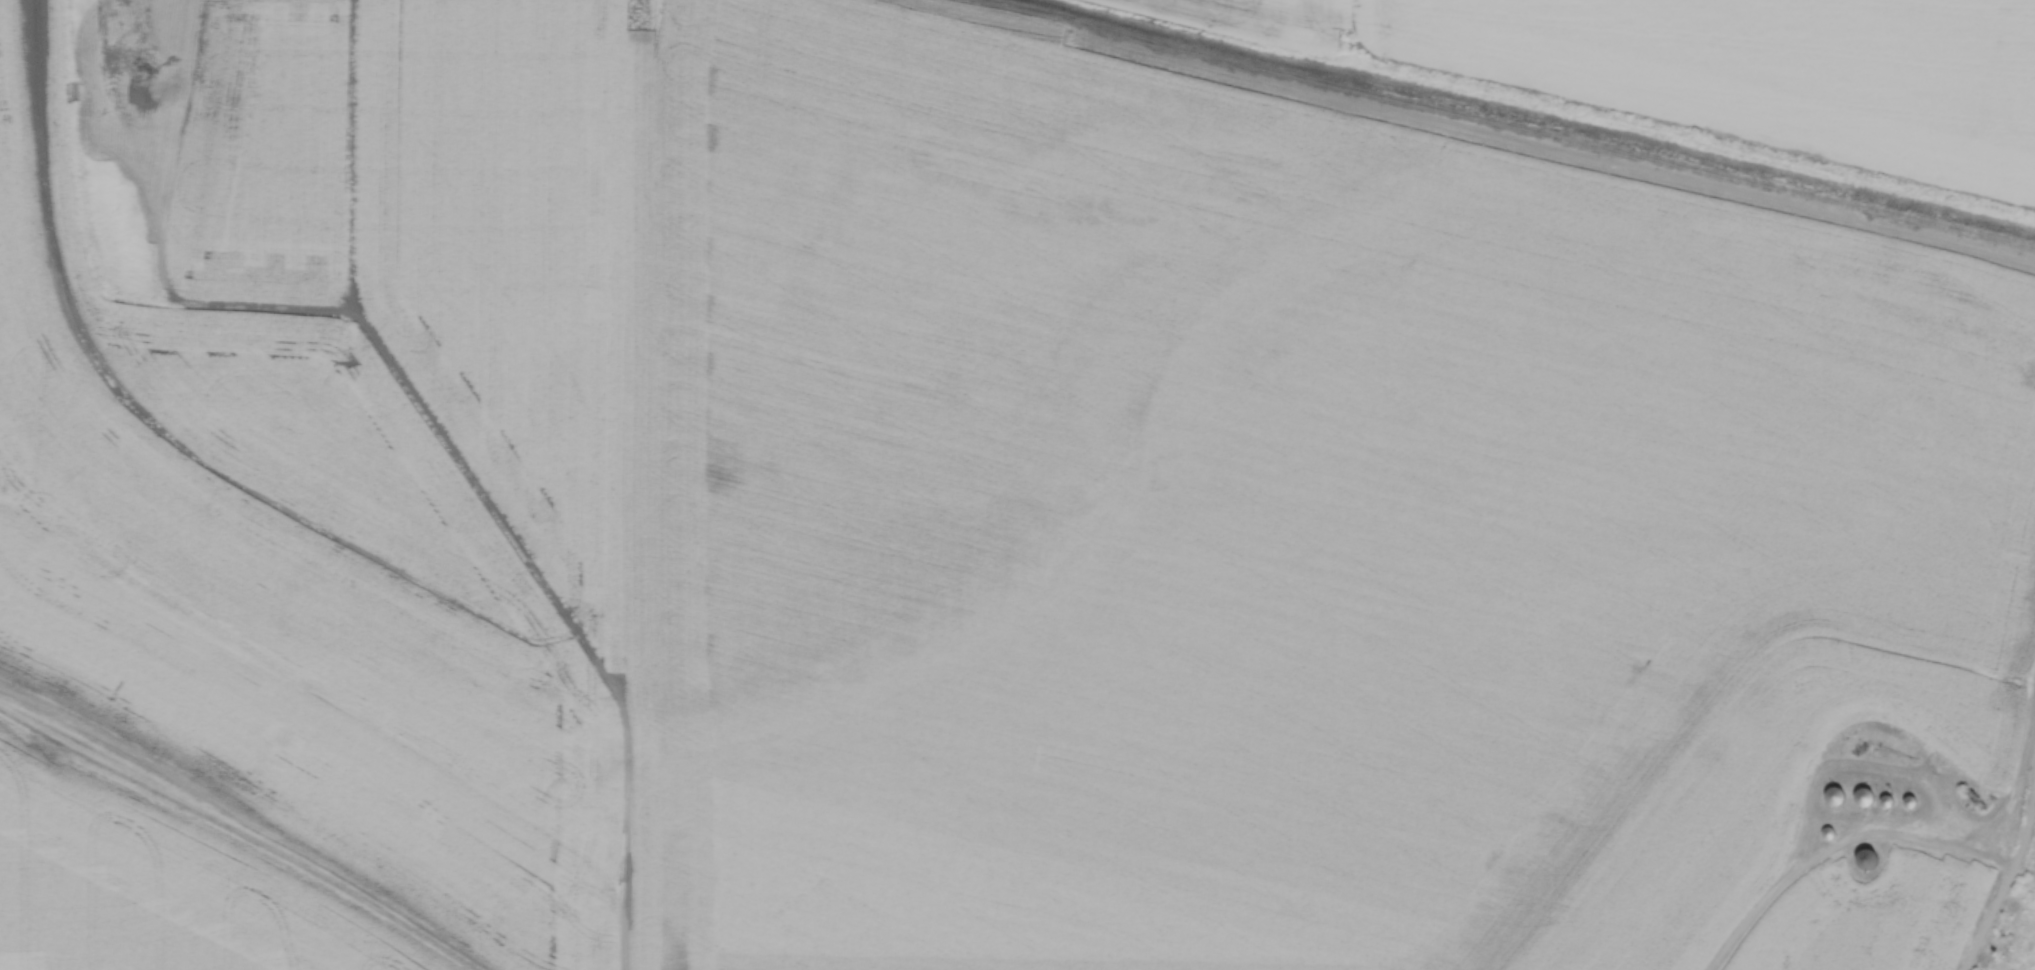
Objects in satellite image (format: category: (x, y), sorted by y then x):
building: (1833, 796)
building: (1863, 796)
road: (1904, 843)
building: (1865, 859)
road: (1998, 866)
road: (1986, 919)

